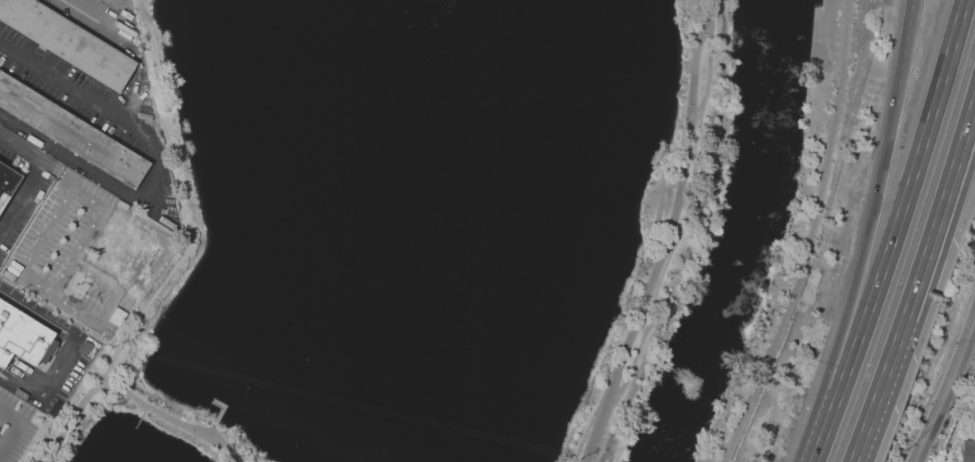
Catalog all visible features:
road: (90, 17)
building: (70, 42)
road: (905, 42)
road: (828, 47)
road: (968, 122)
road: (171, 129)
building: (72, 134)
road: (968, 140)
road: (37, 156)
road: (154, 166)
building: (8, 186)
road: (21, 194)
road: (901, 209)
park: (477, 228)
road: (932, 232)
road: (665, 235)
road: (812, 237)
road: (863, 251)
road: (42, 290)
road: (142, 318)
building: (23, 338)
road: (970, 339)
road: (65, 352)
road: (944, 388)
road: (879, 390)
road: (127, 395)
road: (954, 410)
pier: (220, 415)
road: (15, 428)
road: (212, 429)
road: (819, 438)
building: (967, 450)

